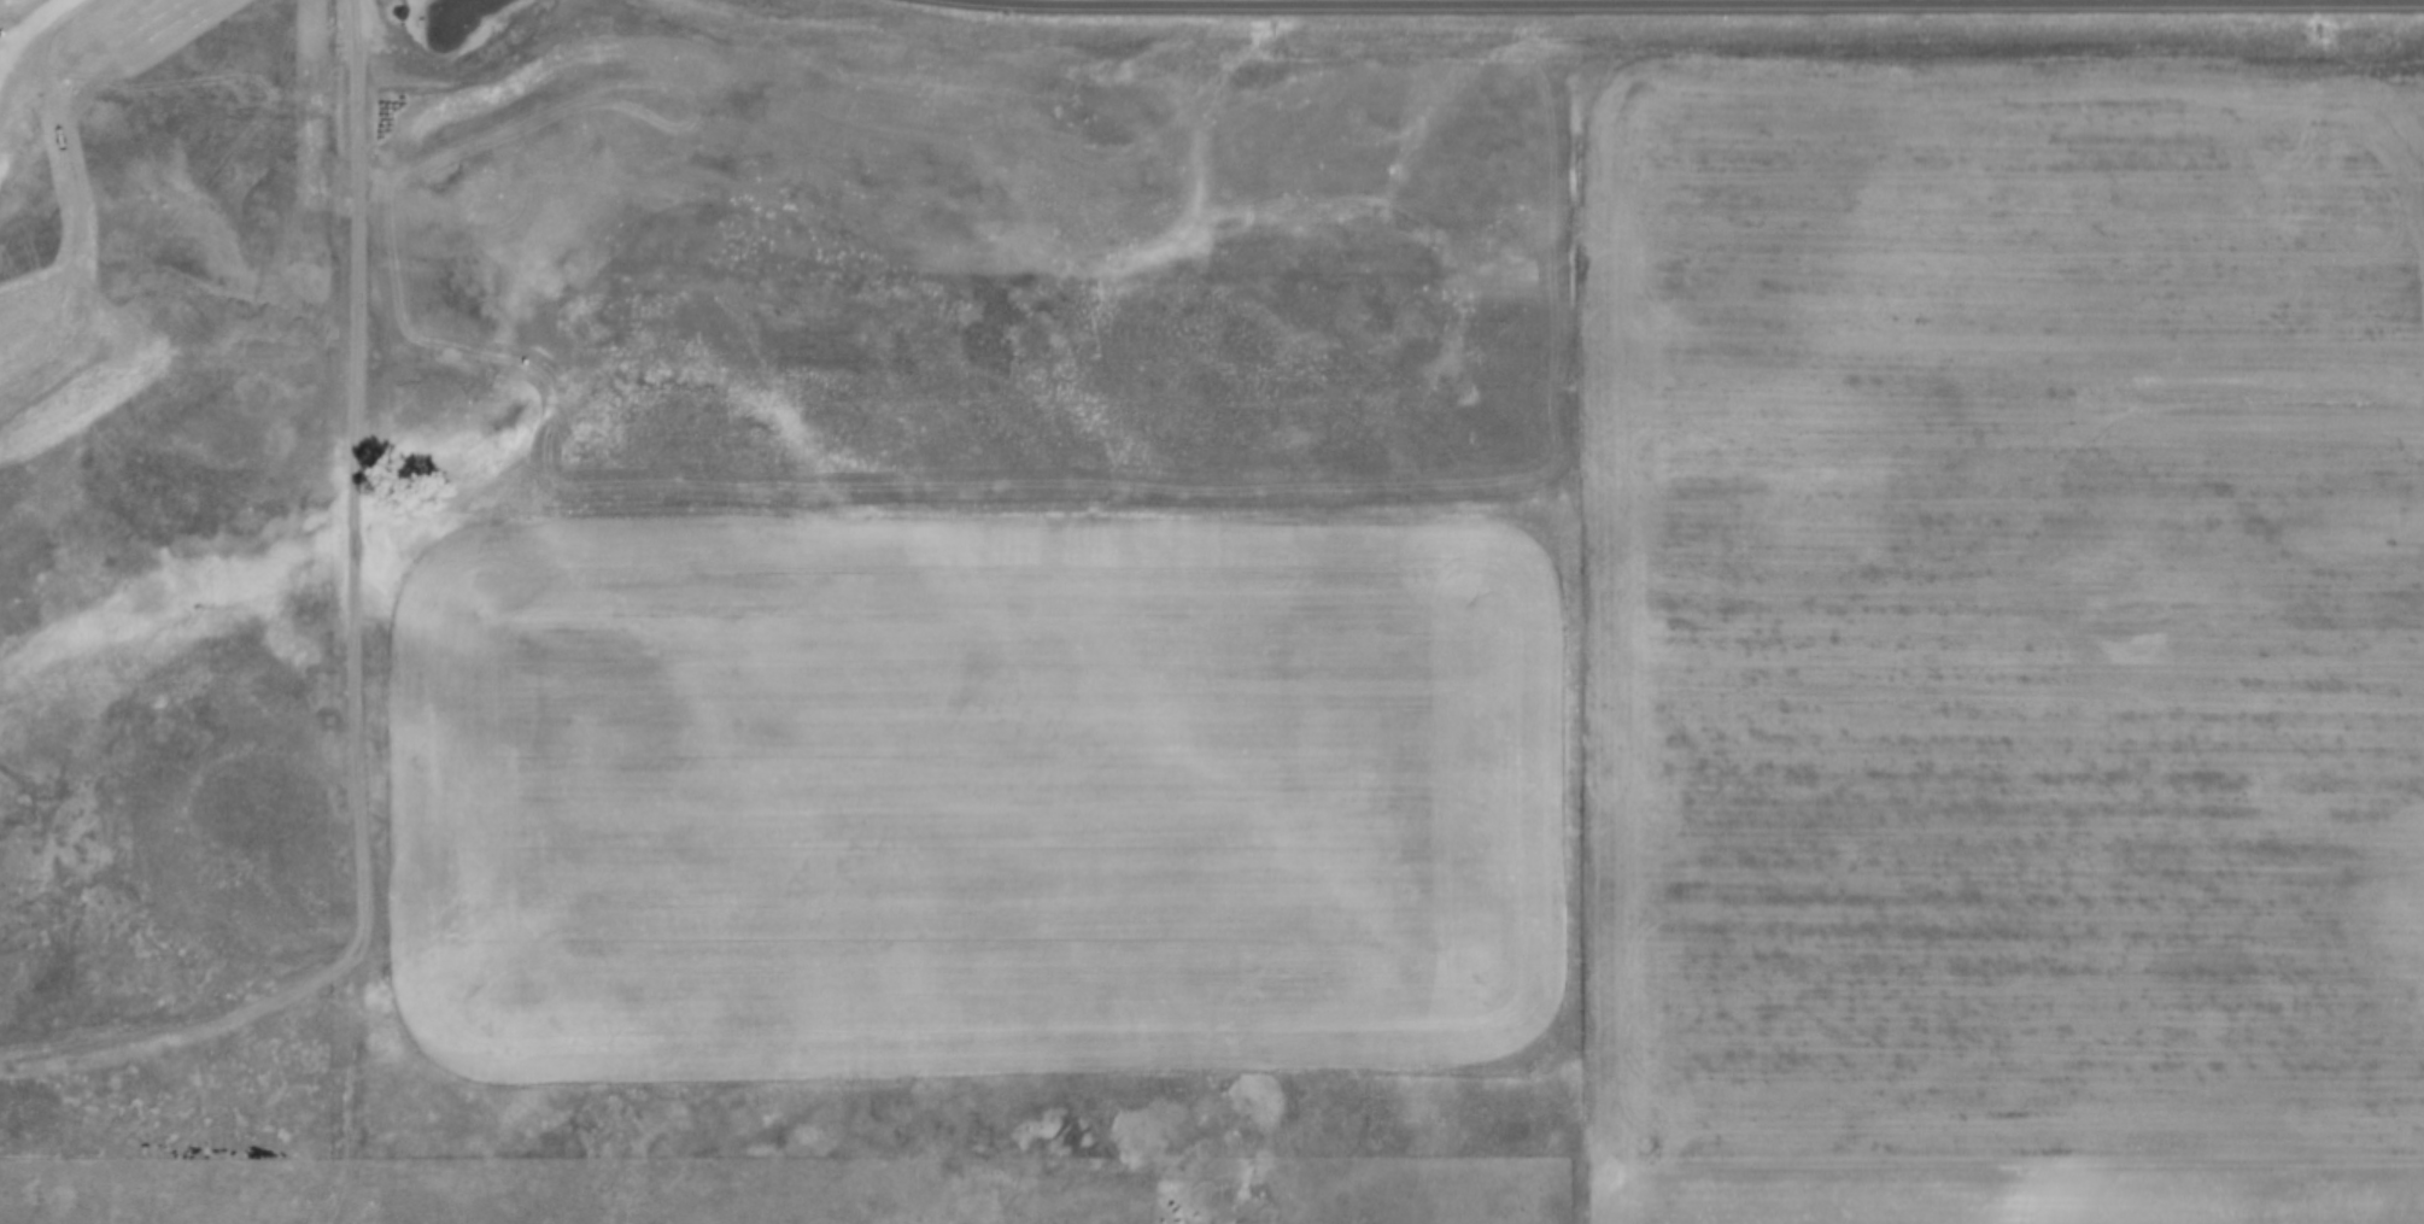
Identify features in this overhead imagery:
road: (352, 464)
road: (192, 1017)
road: (347, 1077)

